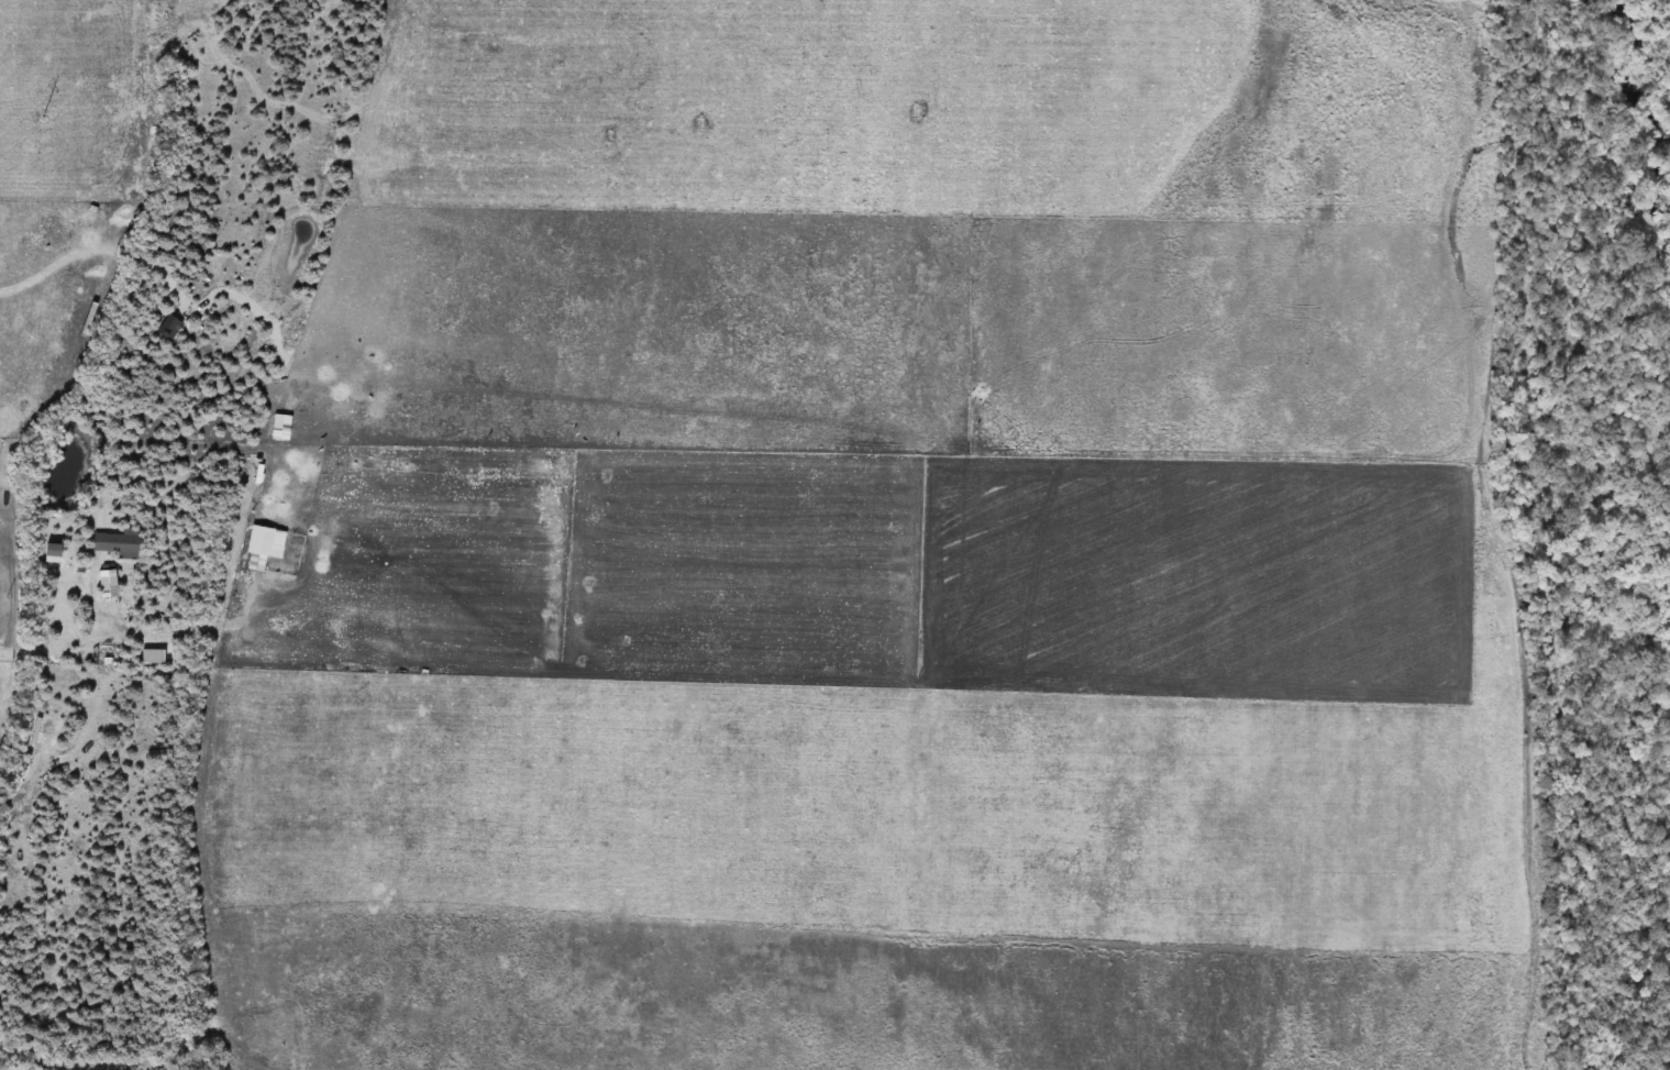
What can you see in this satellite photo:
power tower: (56, 121)
road: (98, 240)
road: (42, 619)

